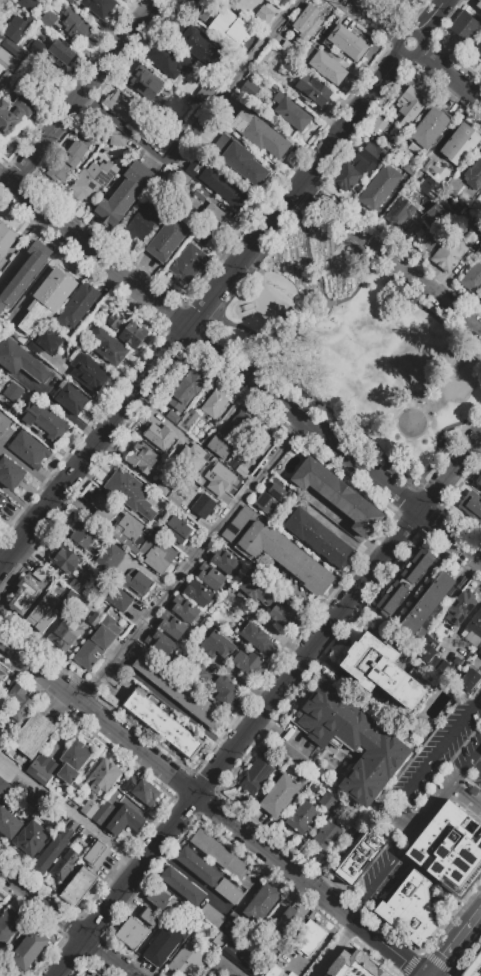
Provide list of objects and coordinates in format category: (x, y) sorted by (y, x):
building: (69, 1)
building: (405, 1)
building: (232, 2)
building: (281, 3)
building: (28, 4)
building: (98, 7)
building: (477, 8)
building: (201, 9)
building: (263, 14)
building: (48, 19)
building: (306, 22)
building: (76, 24)
building: (464, 26)
building: (17, 29)
building: (250, 36)
building: (0, 42)
building: (347, 43)
building: (287, 46)
building: (37, 48)
building: (478, 48)
road: (416, 50)
building: (206, 51)
building: (63, 53)
building: (169, 59)
building: (16, 60)
building: (327, 67)
building: (144, 85)
building: (272, 88)
building: (312, 89)
building: (251, 91)
road: (84, 93)
building: (204, 93)
building: (411, 104)
building: (177, 107)
building: (125, 108)
building: (14, 112)
building: (290, 112)
road: (199, 125)
building: (377, 125)
building: (429, 128)
building: (98, 129)
building: (259, 133)
building: (117, 140)
building: (459, 144)
building: (164, 145)
building: (66, 160)
building: (243, 164)
building: (427, 164)
road: (317, 165)
building: (357, 167)
building: (409, 170)
building: (473, 175)
building: (92, 179)
building: (215, 181)
building: (453, 186)
building: (379, 187)
building: (430, 188)
building: (124, 194)
building: (202, 194)
building: (400, 215)
building: (432, 219)
building: (215, 220)
building: (142, 221)
building: (200, 236)
building: (166, 239)
building: (6, 241)
building: (430, 247)
road: (309, 252)
road: (94, 253)
building: (451, 254)
road: (391, 258)
building: (188, 262)
building: (26, 271)
road: (372, 272)
building: (473, 277)
building: (480, 297)
building: (47, 299)
building: (480, 301)
building: (2, 306)
building: (78, 306)
building: (126, 330)
building: (45, 341)
building: (85, 342)
building: (109, 347)
park: (353, 348)
building: (73, 355)
building: (21, 361)
building: (57, 362)
building: (90, 375)
park: (460, 379)
building: (185, 388)
building: (11, 391)
road: (310, 392)
building: (70, 399)
building: (214, 405)
road: (60, 410)
building: (182, 418)
building: (44, 421)
road: (303, 422)
park: (411, 422)
building: (4, 423)
building: (238, 426)
road: (440, 433)
building: (167, 439)
building: (258, 441)
road: (0, 449)
building: (29, 449)
road: (94, 449)
building: (220, 449)
building: (142, 459)
building: (208, 461)
road: (30, 470)
building: (10, 473)
building: (306, 473)
road: (450, 473)
building: (197, 475)
road: (420, 479)
building: (479, 481)
building: (224, 483)
building: (328, 486)
building: (163, 487)
building: (129, 492)
road: (424, 493)
road: (411, 496)
building: (269, 498)
building: (174, 499)
road: (20, 502)
building: (3, 503)
building: (351, 503)
building: (203, 506)
building: (471, 506)
building: (105, 510)
building: (367, 521)
building: (237, 525)
building: (156, 526)
building: (178, 529)
building: (129, 532)
building: (84, 534)
road: (450, 536)
building: (319, 539)
building: (157, 553)
building: (284, 556)
building: (110, 557)
building: (65, 560)
building: (224, 562)
road: (192, 564)
building: (40, 574)
building: (210, 576)
building: (137, 582)
building: (404, 582)
building: (76, 586)
building: (255, 589)
building: (197, 593)
building: (24, 596)
building: (113, 596)
building: (427, 605)
building: (184, 608)
building: (460, 608)
building: (109, 610)
building: (42, 613)
building: (285, 615)
building: (94, 619)
building: (174, 628)
building: (473, 630)
building: (65, 633)
building: (255, 637)
building: (96, 643)
building: (163, 643)
building: (217, 645)
building: (480, 654)
building: (431, 658)
building: (249, 663)
building: (383, 671)
building: (194, 672)
building: (1, 674)
building: (469, 680)
building: (178, 690)
building: (227, 692)
building: (19, 701)
building: (134, 702)
road: (174, 706)
building: (147, 712)
road: (98, 718)
building: (158, 721)
road: (252, 725)
building: (168, 729)
building: (33, 735)
building: (178, 737)
building: (4, 739)
building: (352, 740)
building: (190, 746)
building: (269, 754)
building: (73, 760)
road: (477, 763)
road: (427, 765)
building: (46, 766)
building: (103, 775)
building: (255, 776)
building: (3, 786)
road: (450, 788)
building: (141, 790)
parking lot: (425, 791)
building: (280, 795)
building: (27, 798)
building: (327, 801)
building: (88, 809)
building: (103, 811)
road: (70, 813)
building: (130, 817)
building: (301, 817)
building: (8, 823)
building: (116, 825)
building: (325, 836)
building: (30, 838)
building: (198, 838)
building: (207, 845)
building: (94, 851)
building: (51, 852)
building: (217, 852)
building: (447, 852)
building: (359, 854)
building: (228, 861)
road: (393, 861)
building: (63, 865)
building: (197, 866)
building: (239, 870)
building: (182, 885)
building: (79, 886)
road: (306, 886)
building: (228, 891)
building: (158, 898)
building: (262, 901)
road: (42, 904)
road: (357, 908)
building: (409, 909)
building: (211, 915)
building: (150, 916)
building: (288, 922)
building: (7, 924)
building: (232, 932)
building: (132, 933)
building: (309, 936)
building: (219, 940)
building: (166, 944)
road: (457, 946)
building: (28, 949)
building: (237, 955)
road: (108, 956)
road: (69, 957)
building: (186, 960)
building: (355, 965)
building: (473, 966)
building: (8, 970)
building: (274, 971)
building: (91, 974)
building: (291, 974)

